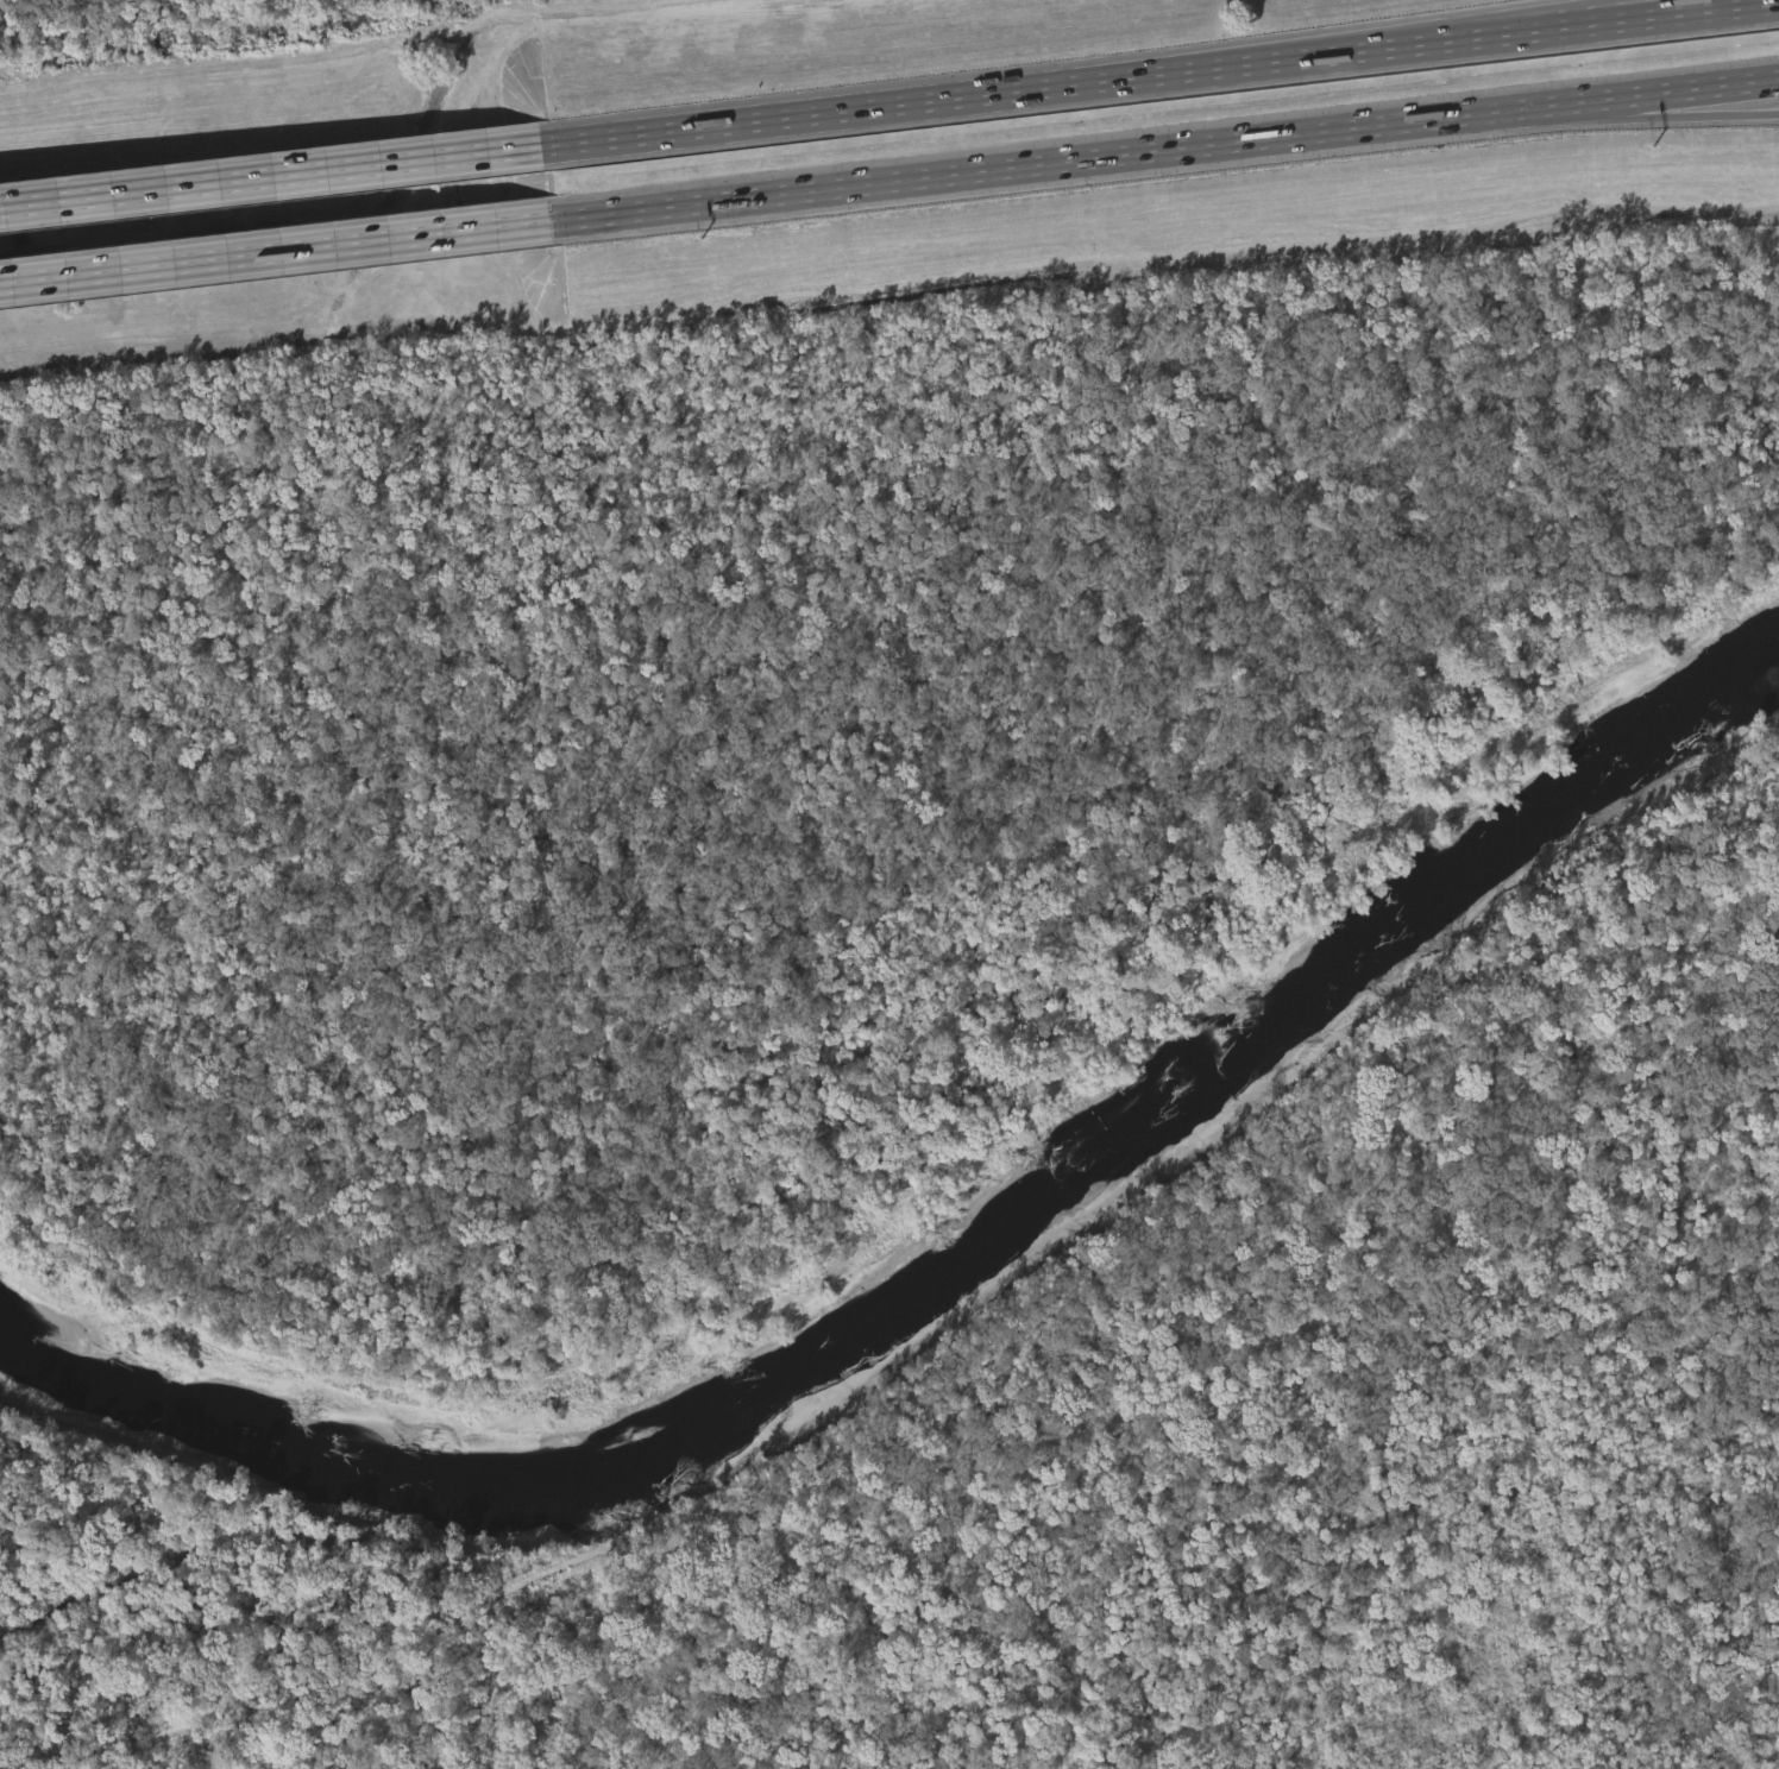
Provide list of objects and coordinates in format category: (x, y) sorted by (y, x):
road: (1329, 43)
road: (1159, 73)
road: (1597, 99)
road: (1597, 117)
road: (982, 170)
road: (271, 176)
road: (275, 251)
river: (1124, 1121)
river: (197, 1398)
river: (205, 1549)

